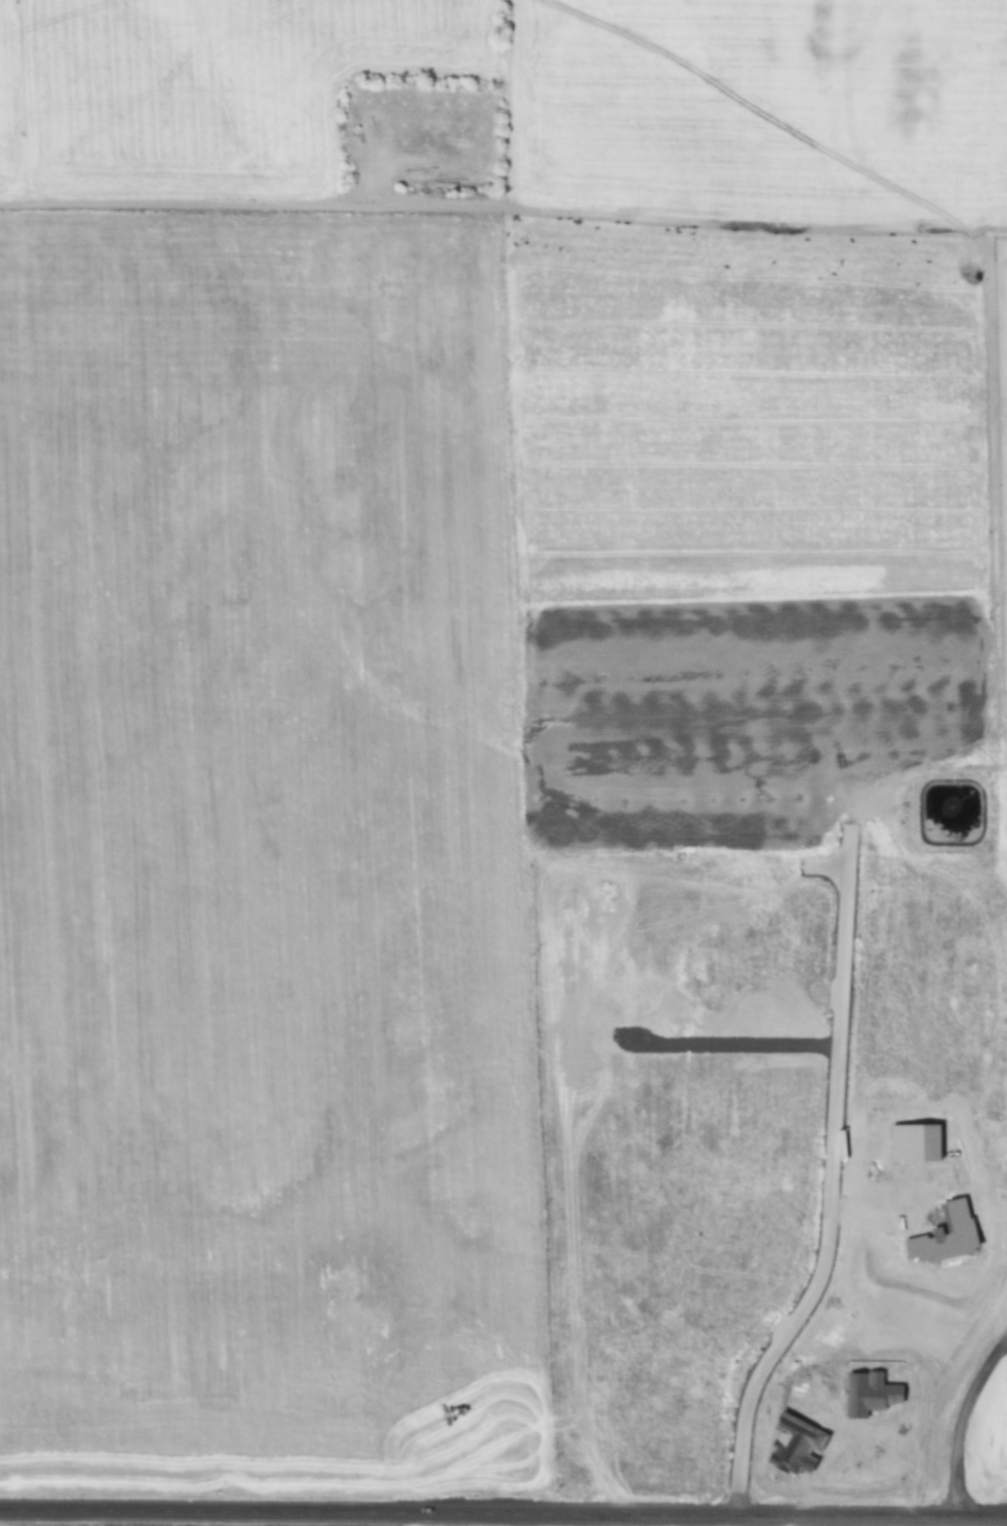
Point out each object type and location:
road: (503, 1515)
crop: (190, 1524)

